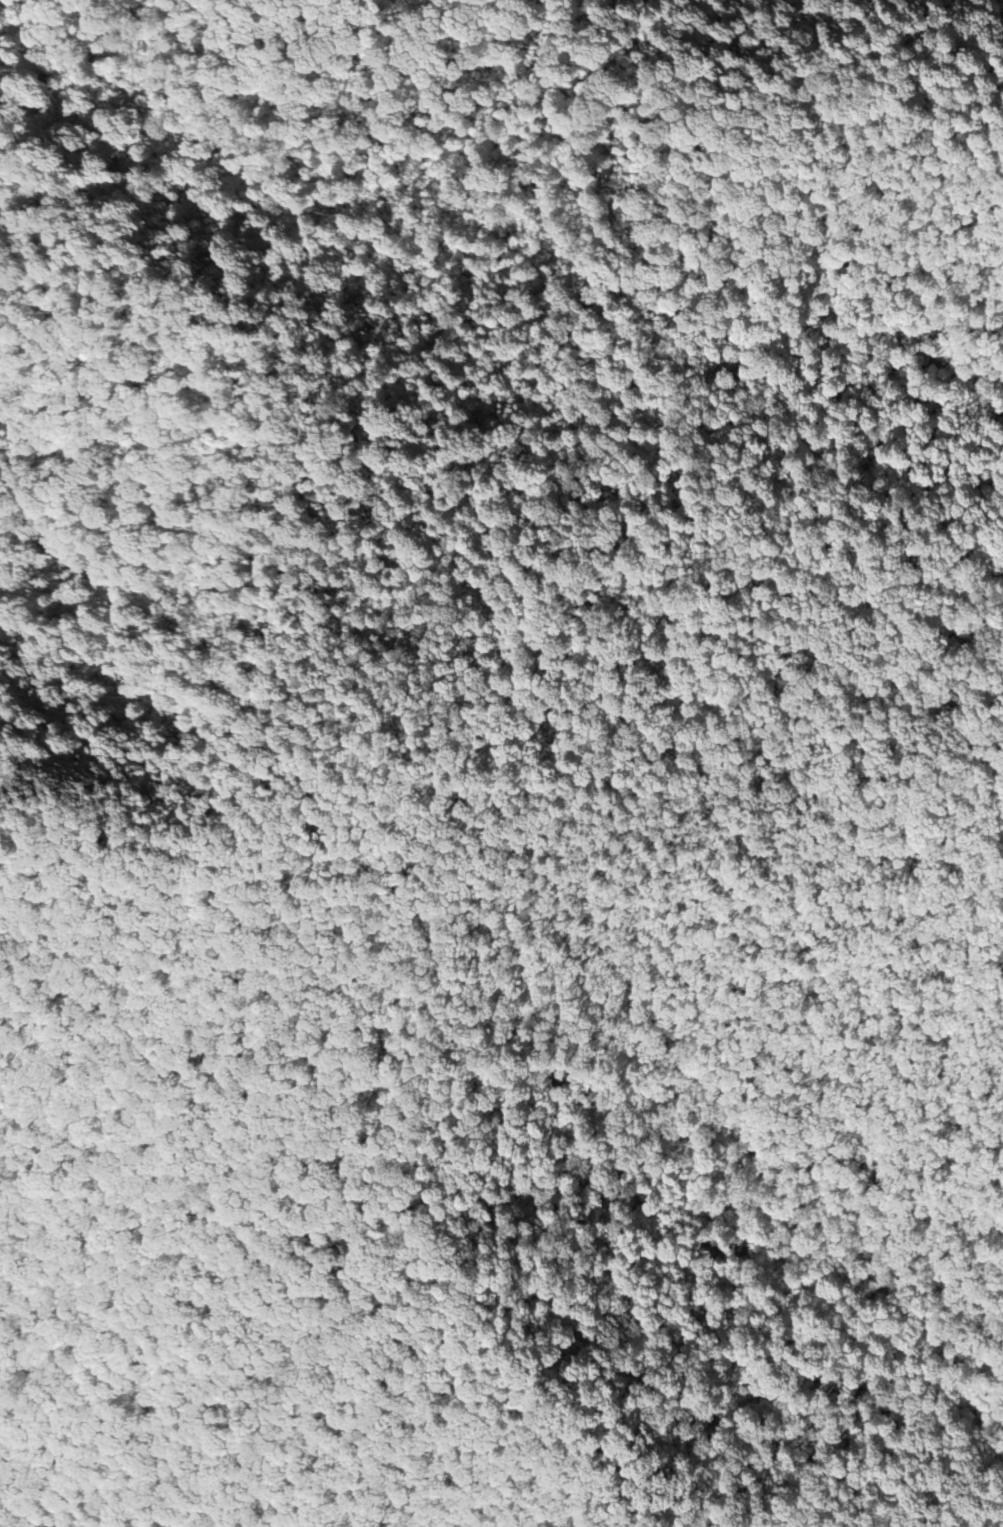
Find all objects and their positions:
road: (996, 430)
road: (489, 587)
road: (883, 1340)
river: (995, 1414)

